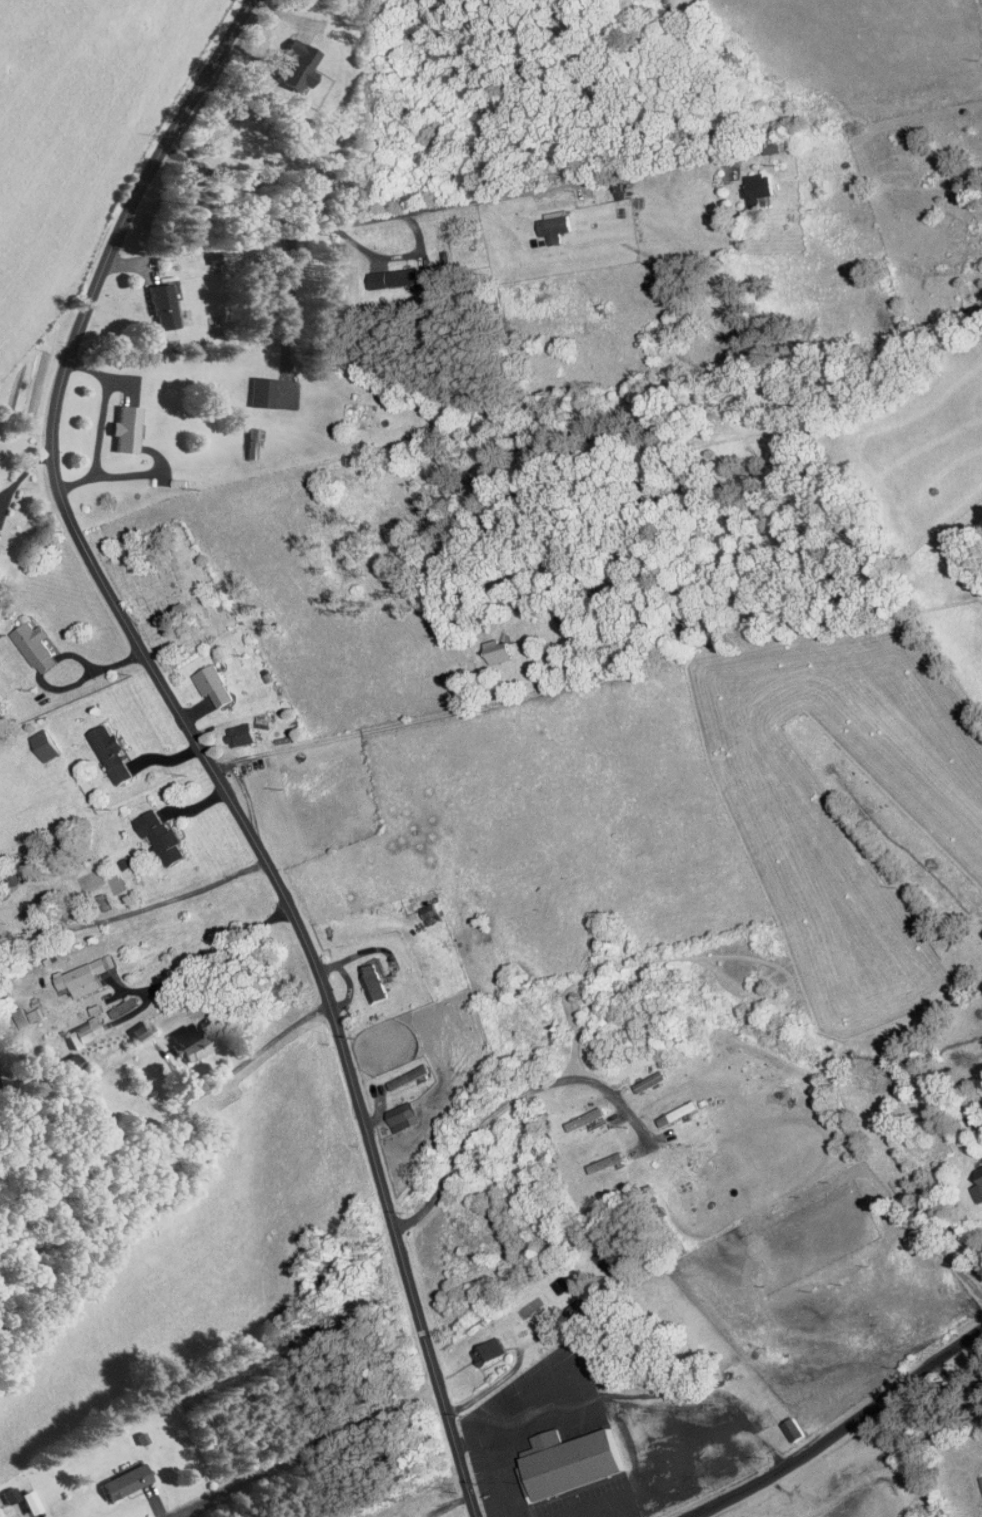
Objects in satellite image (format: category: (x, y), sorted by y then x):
road: (421, 211)
road: (396, 257)
road: (289, 297)
road: (13, 482)
park: (170, 590)
road: (397, 726)
road: (196, 743)
road: (146, 1004)
road: (509, 1102)
road: (955, 1379)
road: (841, 1430)
road: (307, 1452)

